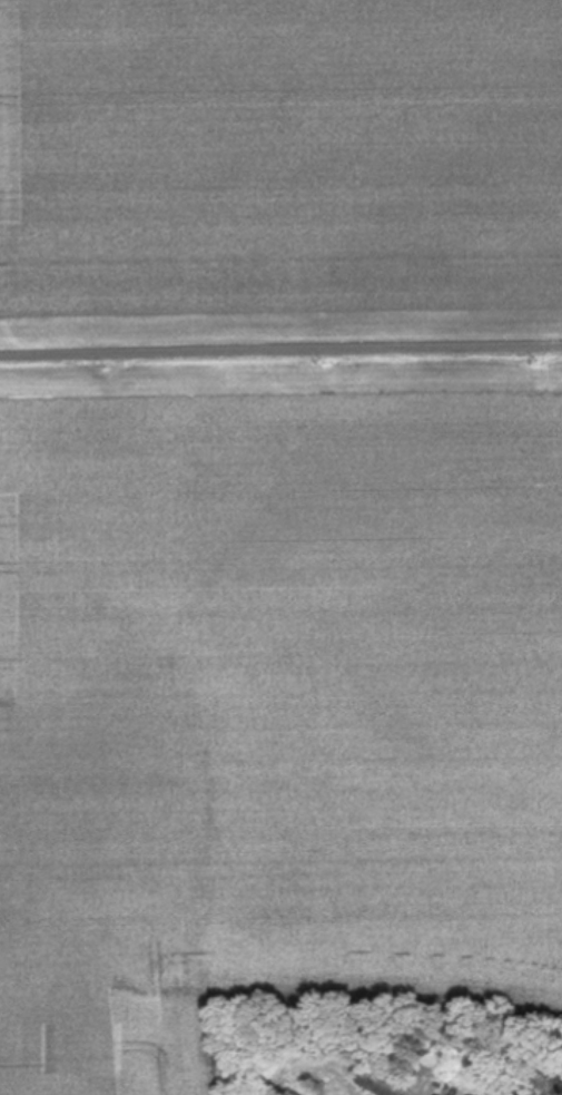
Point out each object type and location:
crop: (280, 164)
road: (280, 344)
crop: (274, 726)

